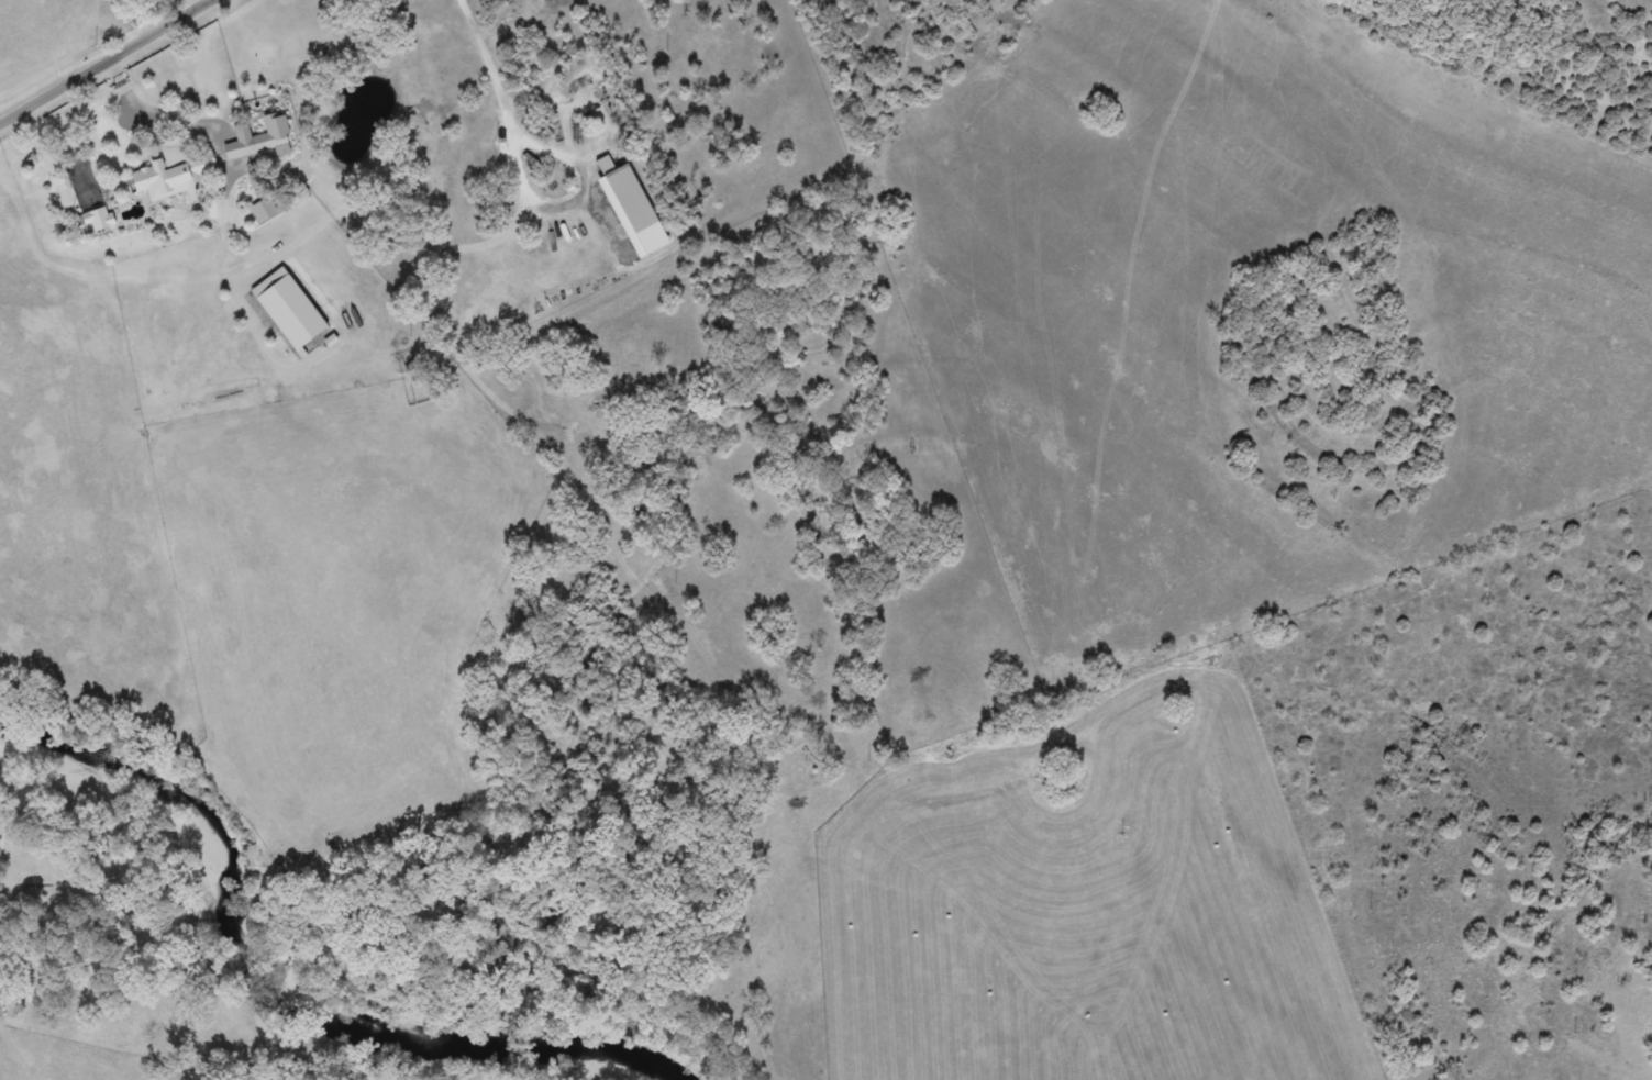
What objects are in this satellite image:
road: (108, 60)
building: (171, 171)
building: (627, 199)
building: (93, 219)
building: (284, 310)

